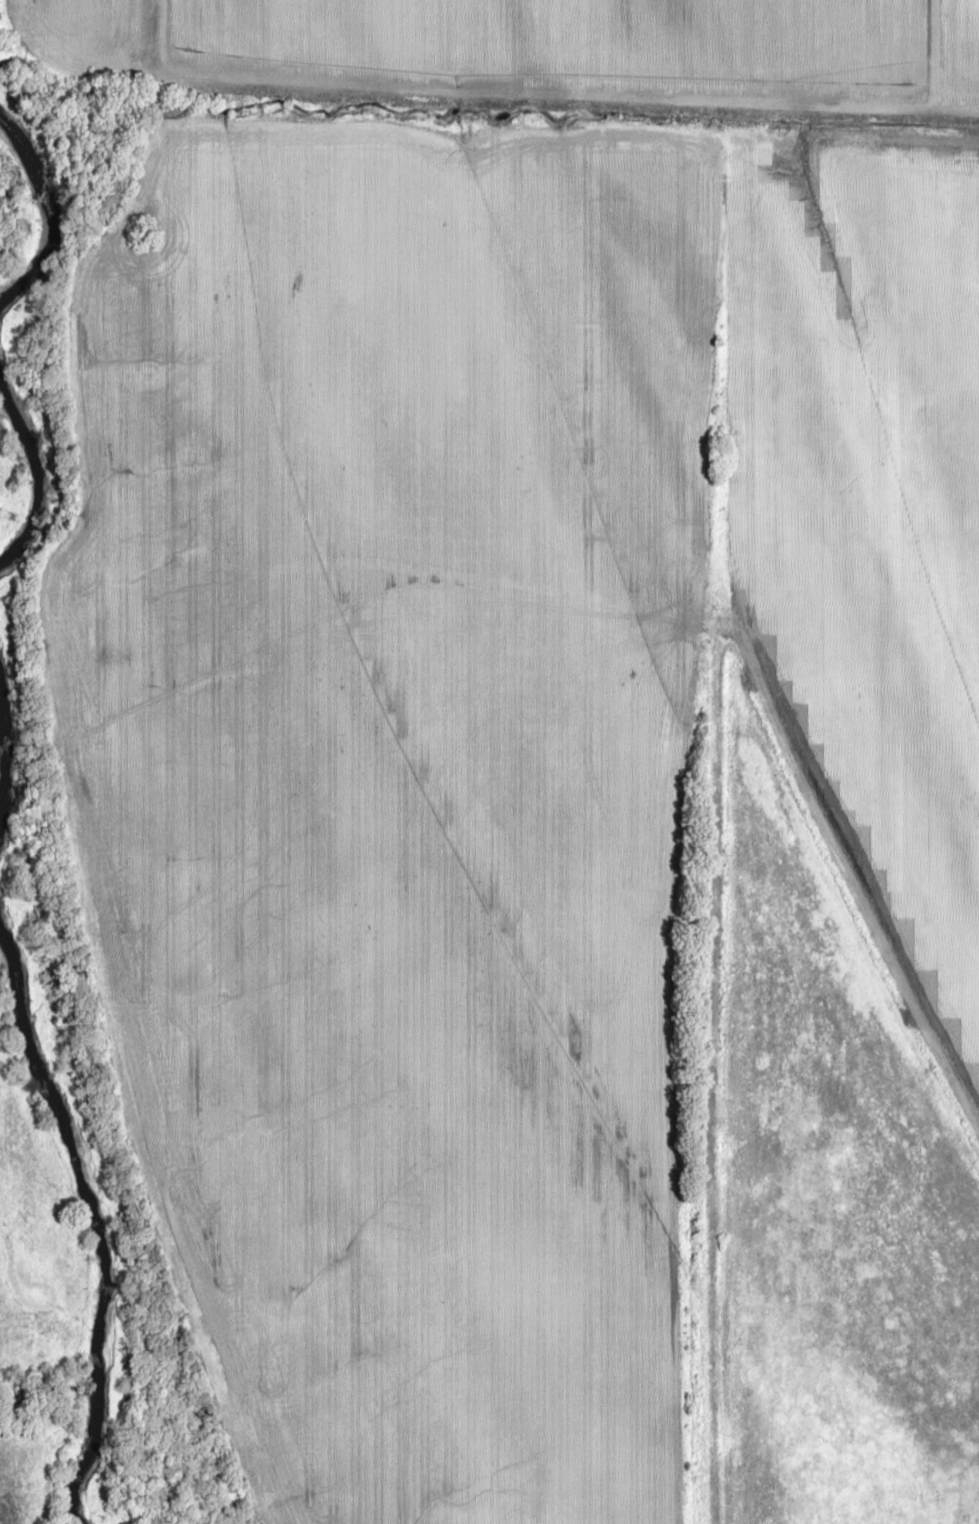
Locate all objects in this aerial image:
road: (793, 749)

